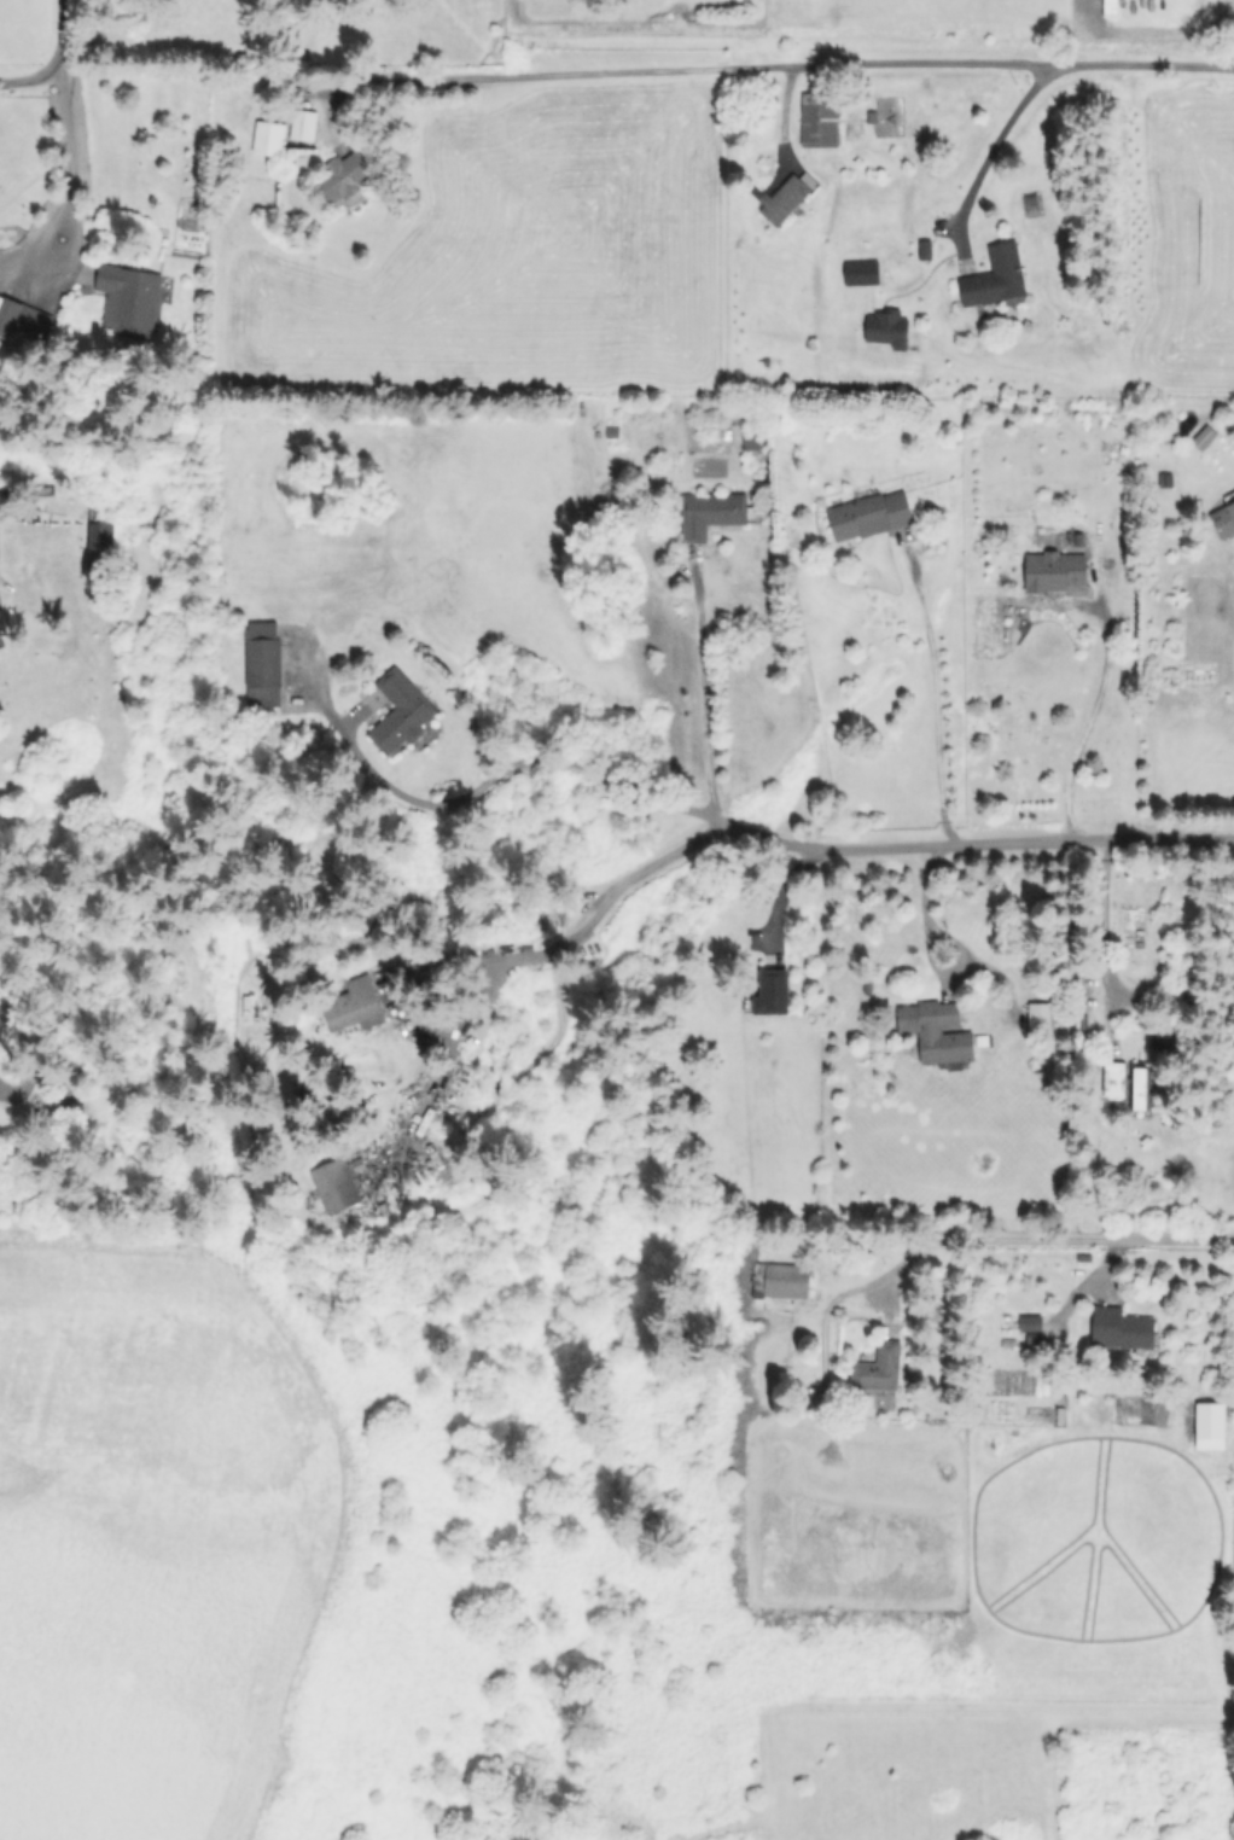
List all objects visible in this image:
road: (57, 23)
road: (796, 66)
road: (36, 75)
building: (817, 118)
building: (301, 124)
building: (267, 136)
road: (995, 142)
road: (68, 167)
building: (340, 179)
building: (784, 196)
building: (858, 272)
building: (993, 276)
building: (127, 299)
building: (22, 318)
building: (884, 328)
building: (1201, 436)
building: (6, 494)
building: (708, 512)
building: (867, 514)
building: (1223, 516)
building: (97, 552)
building: (1052, 570)
building: (1, 623)
building: (261, 663)
road: (933, 698)
road: (702, 701)
building: (397, 711)
road: (1087, 723)
road: (751, 835)
road: (921, 912)
road: (574, 927)
road: (1104, 937)
building: (769, 991)
building: (353, 1006)
building: (1036, 1017)
building: (933, 1030)
building: (1112, 1077)
building: (1137, 1087)
building: (332, 1184)
road: (964, 1240)
road: (1156, 1241)
building: (780, 1279)
building: (1028, 1322)
building: (1119, 1328)
building: (877, 1368)
building: (1207, 1425)

